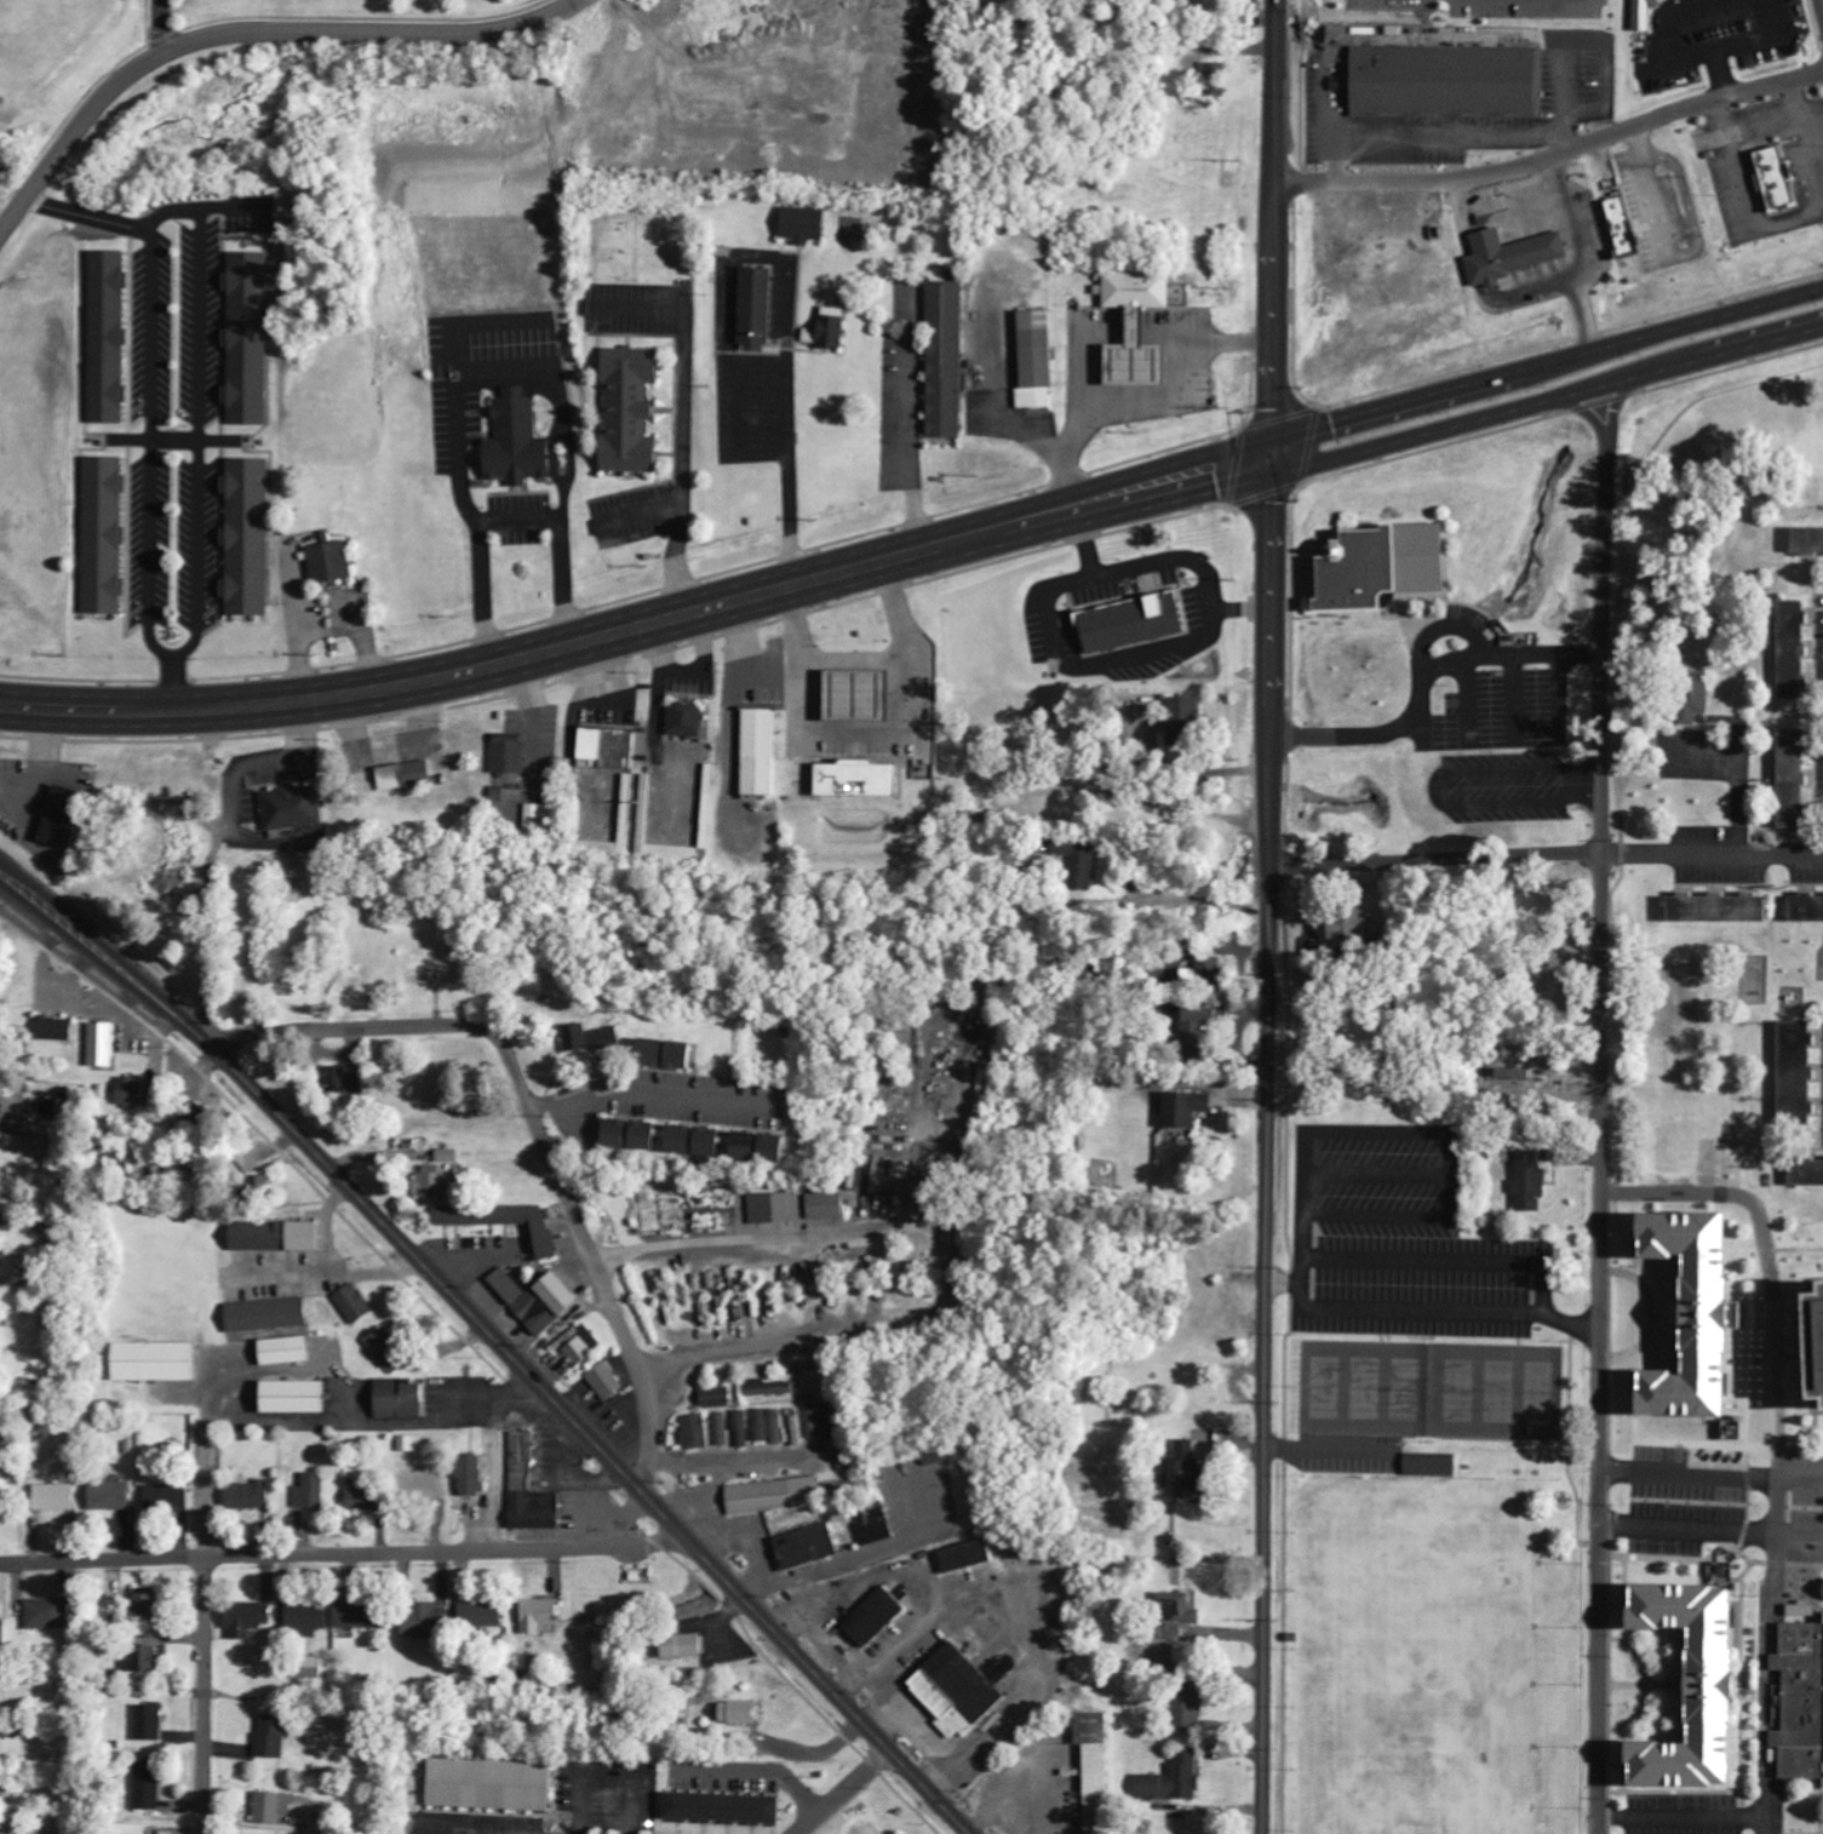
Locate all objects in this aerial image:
road: (1822, 4)
building: (1644, 16)
road: (160, 29)
road: (253, 36)
building: (1215, 79)
building: (1449, 81)
road: (1553, 160)
building: (1778, 179)
building: (804, 225)
road: (1272, 228)
building: (1626, 228)
building: (1513, 256)
building: (757, 308)
building: (833, 326)
building: (109, 337)
building: (250, 338)
building: (1037, 359)
building: (946, 360)
building: (1140, 365)
building: (631, 409)
building: (518, 441)
road: (196, 443)
traffic signals: (1272, 458)
building: (104, 535)
building: (248, 537)
building: (1810, 540)
road: (918, 552)
building: (331, 562)
building: (1388, 566)
building: (1134, 623)
building: (1796, 651)
road: (1272, 661)
building: (861, 697)
building: (1697, 706)
building: (687, 720)
building: (1188, 721)
building: (609, 747)
building: (761, 752)
building: (509, 756)
building: (406, 776)
building: (860, 779)
building: (1796, 779)
building: (294, 808)
building: (65, 815)
building: (540, 818)
building: (670, 853)
road: (1547, 855)
building: (1080, 862)
building: (1722, 909)
building: (1808, 909)
building: (1352, 935)
building: (1679, 995)
building: (55, 1028)
building: (1199, 1028)
road: (343, 1030)
building: (589, 1038)
building: (102, 1045)
building: (669, 1054)
building: (1800, 1073)
building: (343, 1082)
building: (137, 1094)
road: (655, 1094)
road: (1599, 1100)
building: (1186, 1110)
building: (634, 1135)
building: (698, 1141)
building: (761, 1148)
building: (1808, 1174)
building: (432, 1182)
building: (1530, 1183)
building: (827, 1207)
building: (775, 1209)
building: (503, 1221)
road: (780, 1231)
road: (581, 1234)
building: (277, 1237)
building: (561, 1295)
building: (524, 1301)
building: (354, 1305)
building: (268, 1316)
building: (1703, 1316)
building: (1817, 1322)
road: (499, 1339)
building: (577, 1348)
road: (1267, 1349)
building: (286, 1351)
building: (388, 1351)
building: (155, 1363)
road: (736, 1366)
building: (819, 1381)
building: (604, 1382)
building: (770, 1389)
building: (297, 1398)
building: (401, 1399)
building: (717, 1399)
building: (813, 1422)
building: (829, 1422)
building: (761, 1426)
building: (776, 1427)
building: (796, 1428)
building: (722, 1431)
building: (741, 1431)
building: (694, 1433)
building: (1431, 1466)
building: (1187, 1468)
road: (1710, 1474)
building: (471, 1477)
building: (529, 1490)
building: (310, 1494)
building: (787, 1495)
building: (111, 1496)
building: (250, 1496)
building: (1434, 1496)
building: (55, 1498)
building: (168, 1498)
building: (368, 1500)
building: (875, 1524)
road: (1710, 1530)
building: (807, 1547)
road: (349, 1555)
building: (967, 1557)
building: (148, 1606)
building: (0, 1615)
building: (46, 1615)
building: (482, 1615)
building: (1176, 1615)
building: (363, 1616)
building: (539, 1616)
building: (309, 1617)
building: (876, 1618)
building: (247, 1620)
building: (424, 1622)
building: (683, 1646)
road: (1770, 1649)
park: (1428, 1656)
building: (141, 1661)
building: (1703, 1690)
building: (957, 1692)
road: (202, 1697)
building: (1801, 1703)
building: (1189, 1712)
building: (739, 1713)
building: (149, 1724)
building: (274, 1737)
building: (1095, 1770)
building: (1173, 1781)
building: (492, 1786)
building: (148, 1787)
building: (273, 1807)
building: (726, 1810)
road: (1687, 1819)

